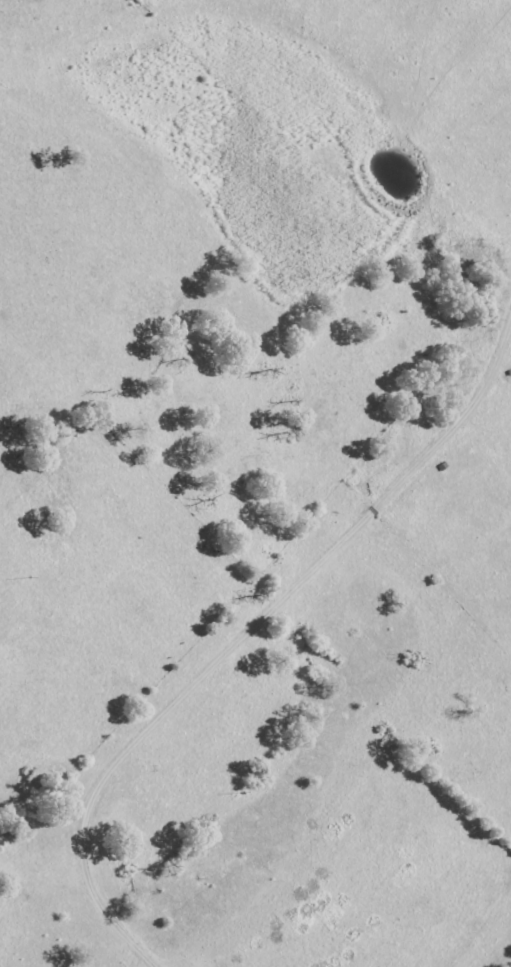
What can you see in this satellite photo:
road: (475, 871)

